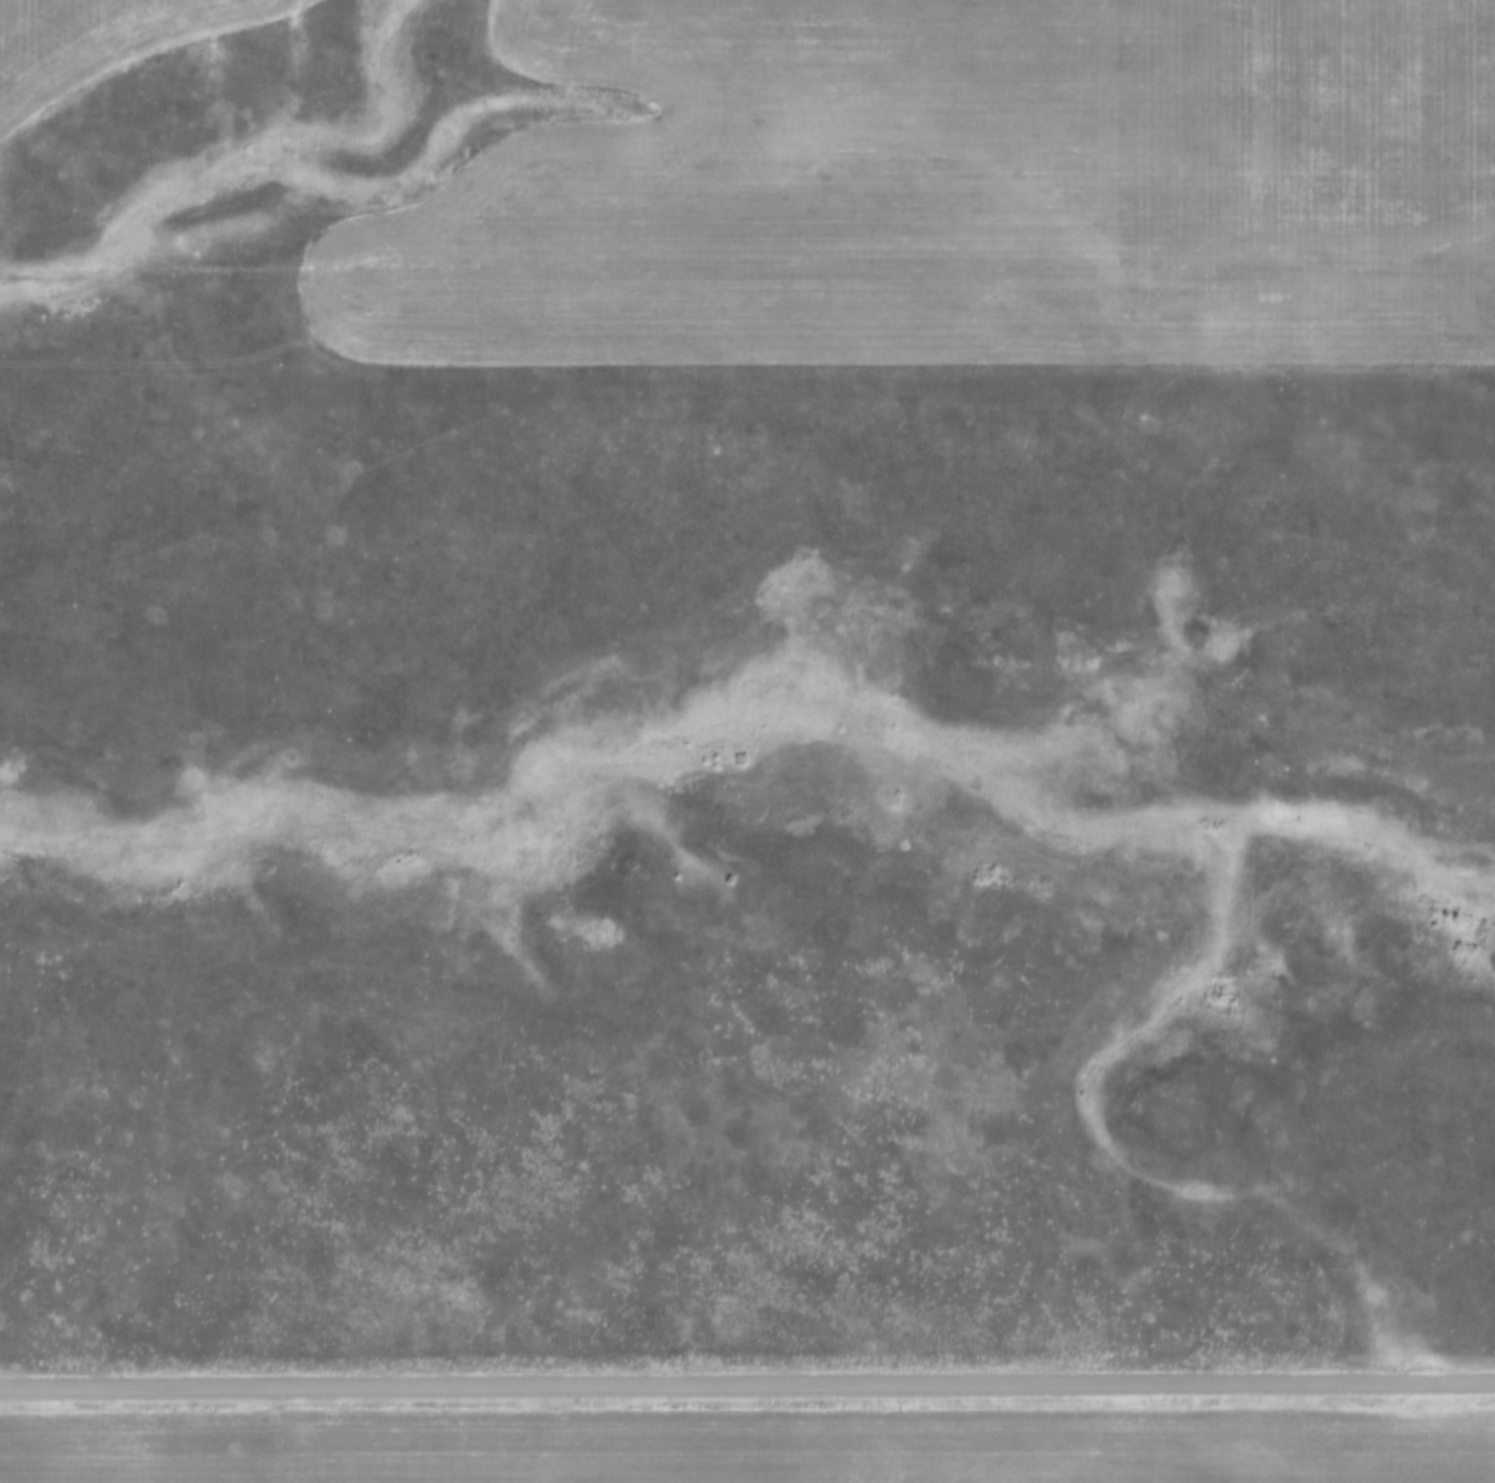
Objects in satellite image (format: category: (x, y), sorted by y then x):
road: (747, 1389)

